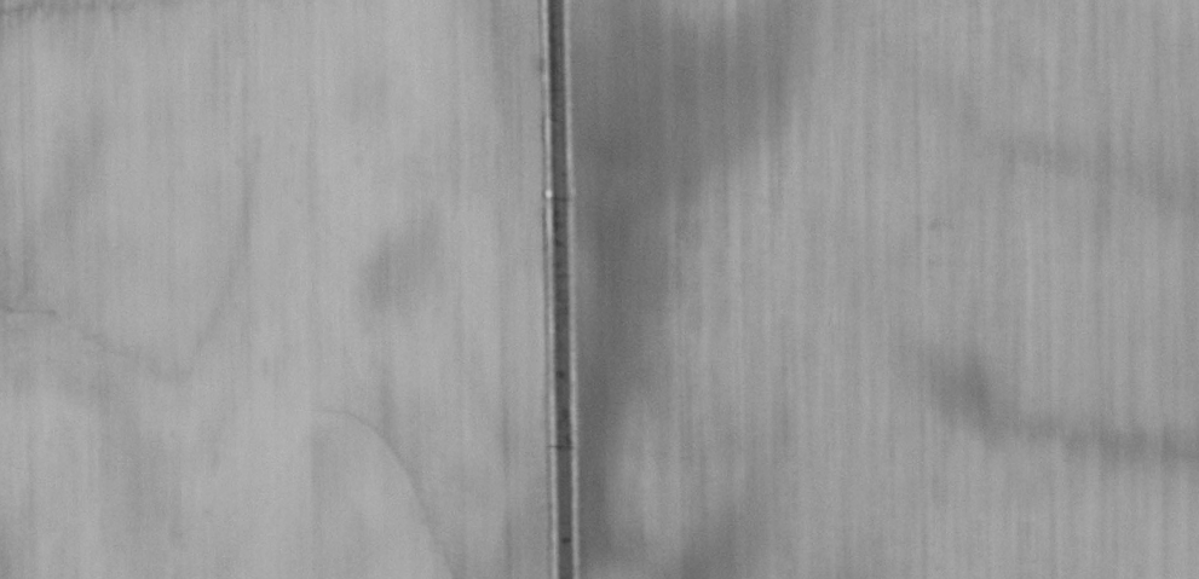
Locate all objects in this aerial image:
road: (558, 289)

